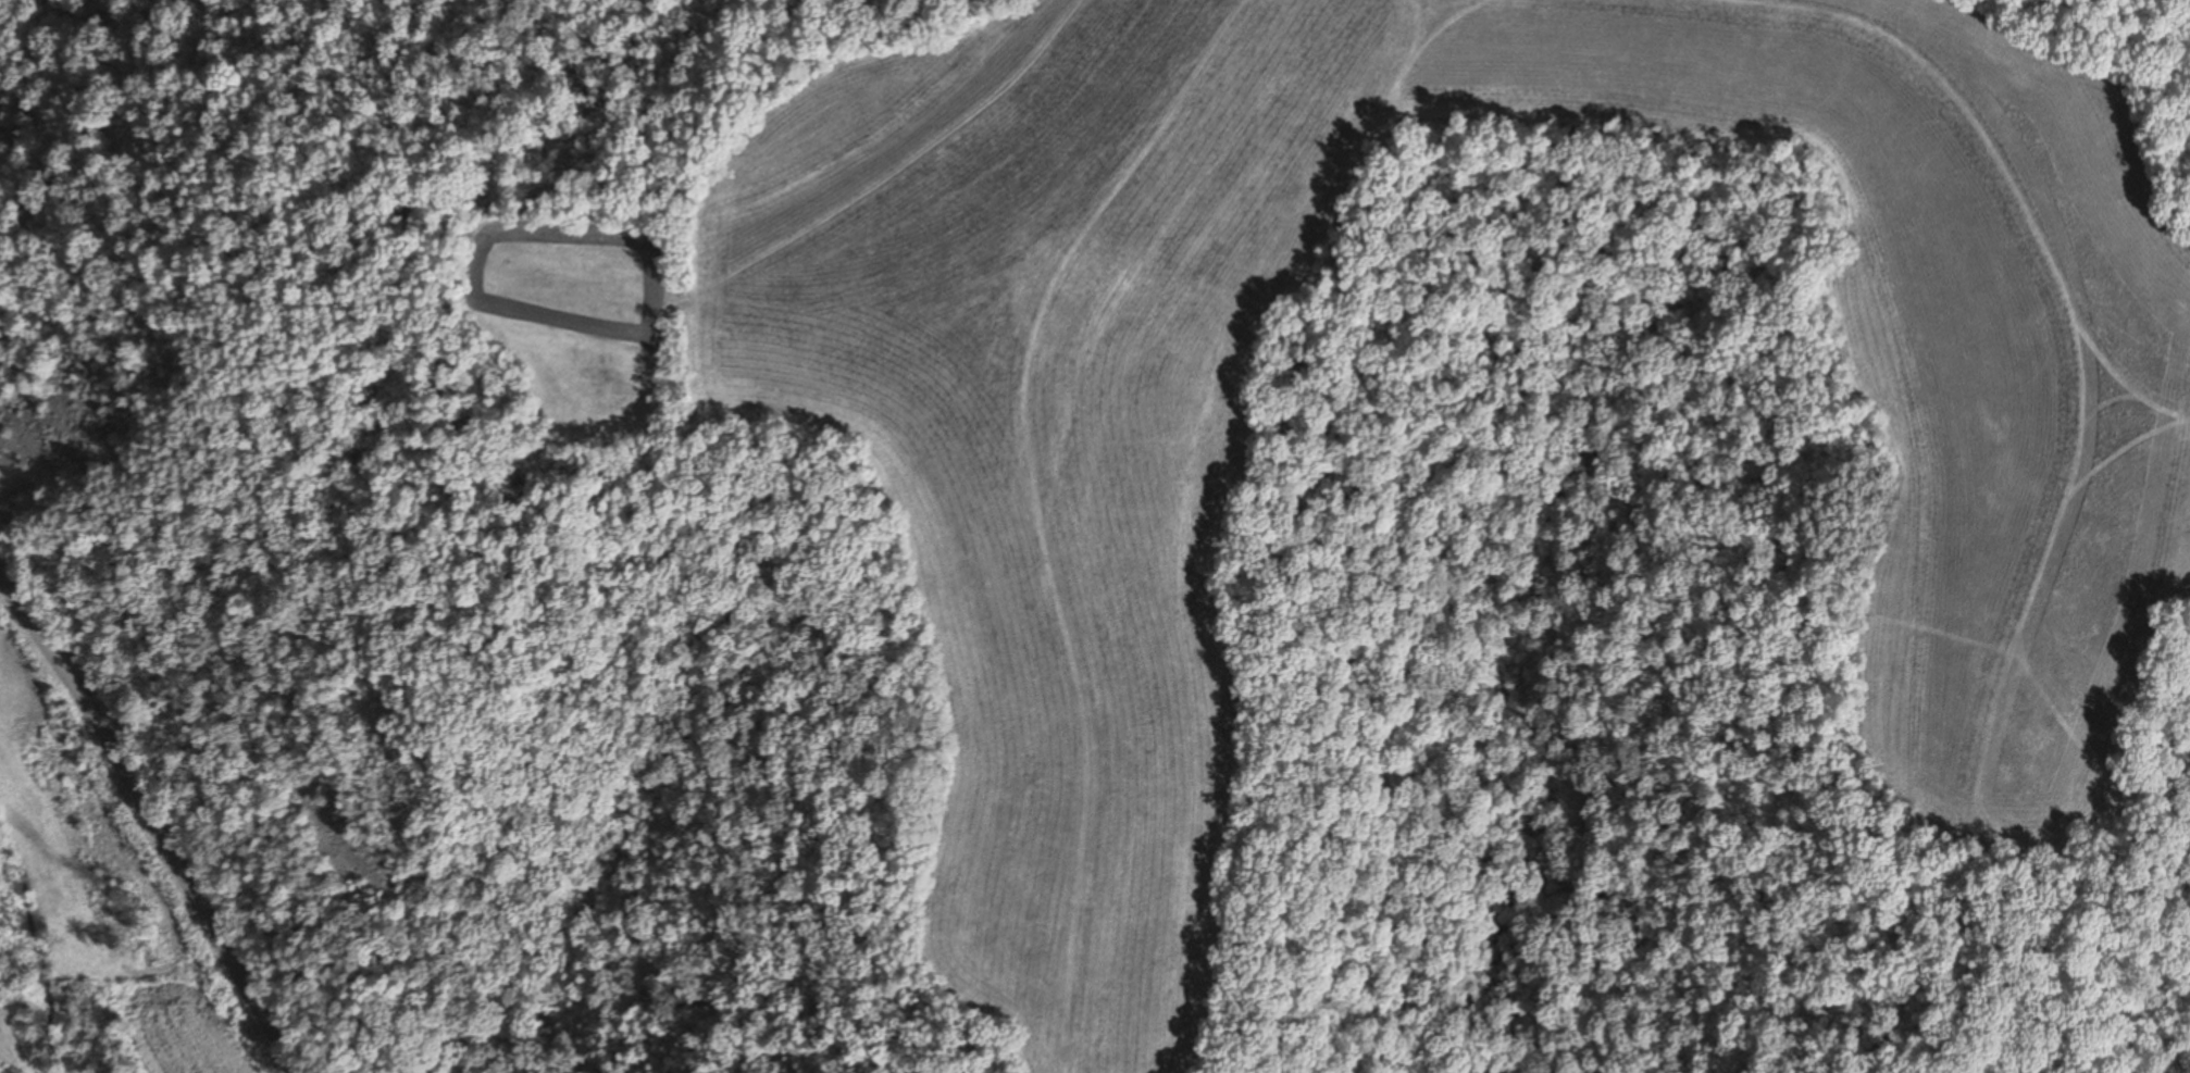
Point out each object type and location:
road: (154, 821)

